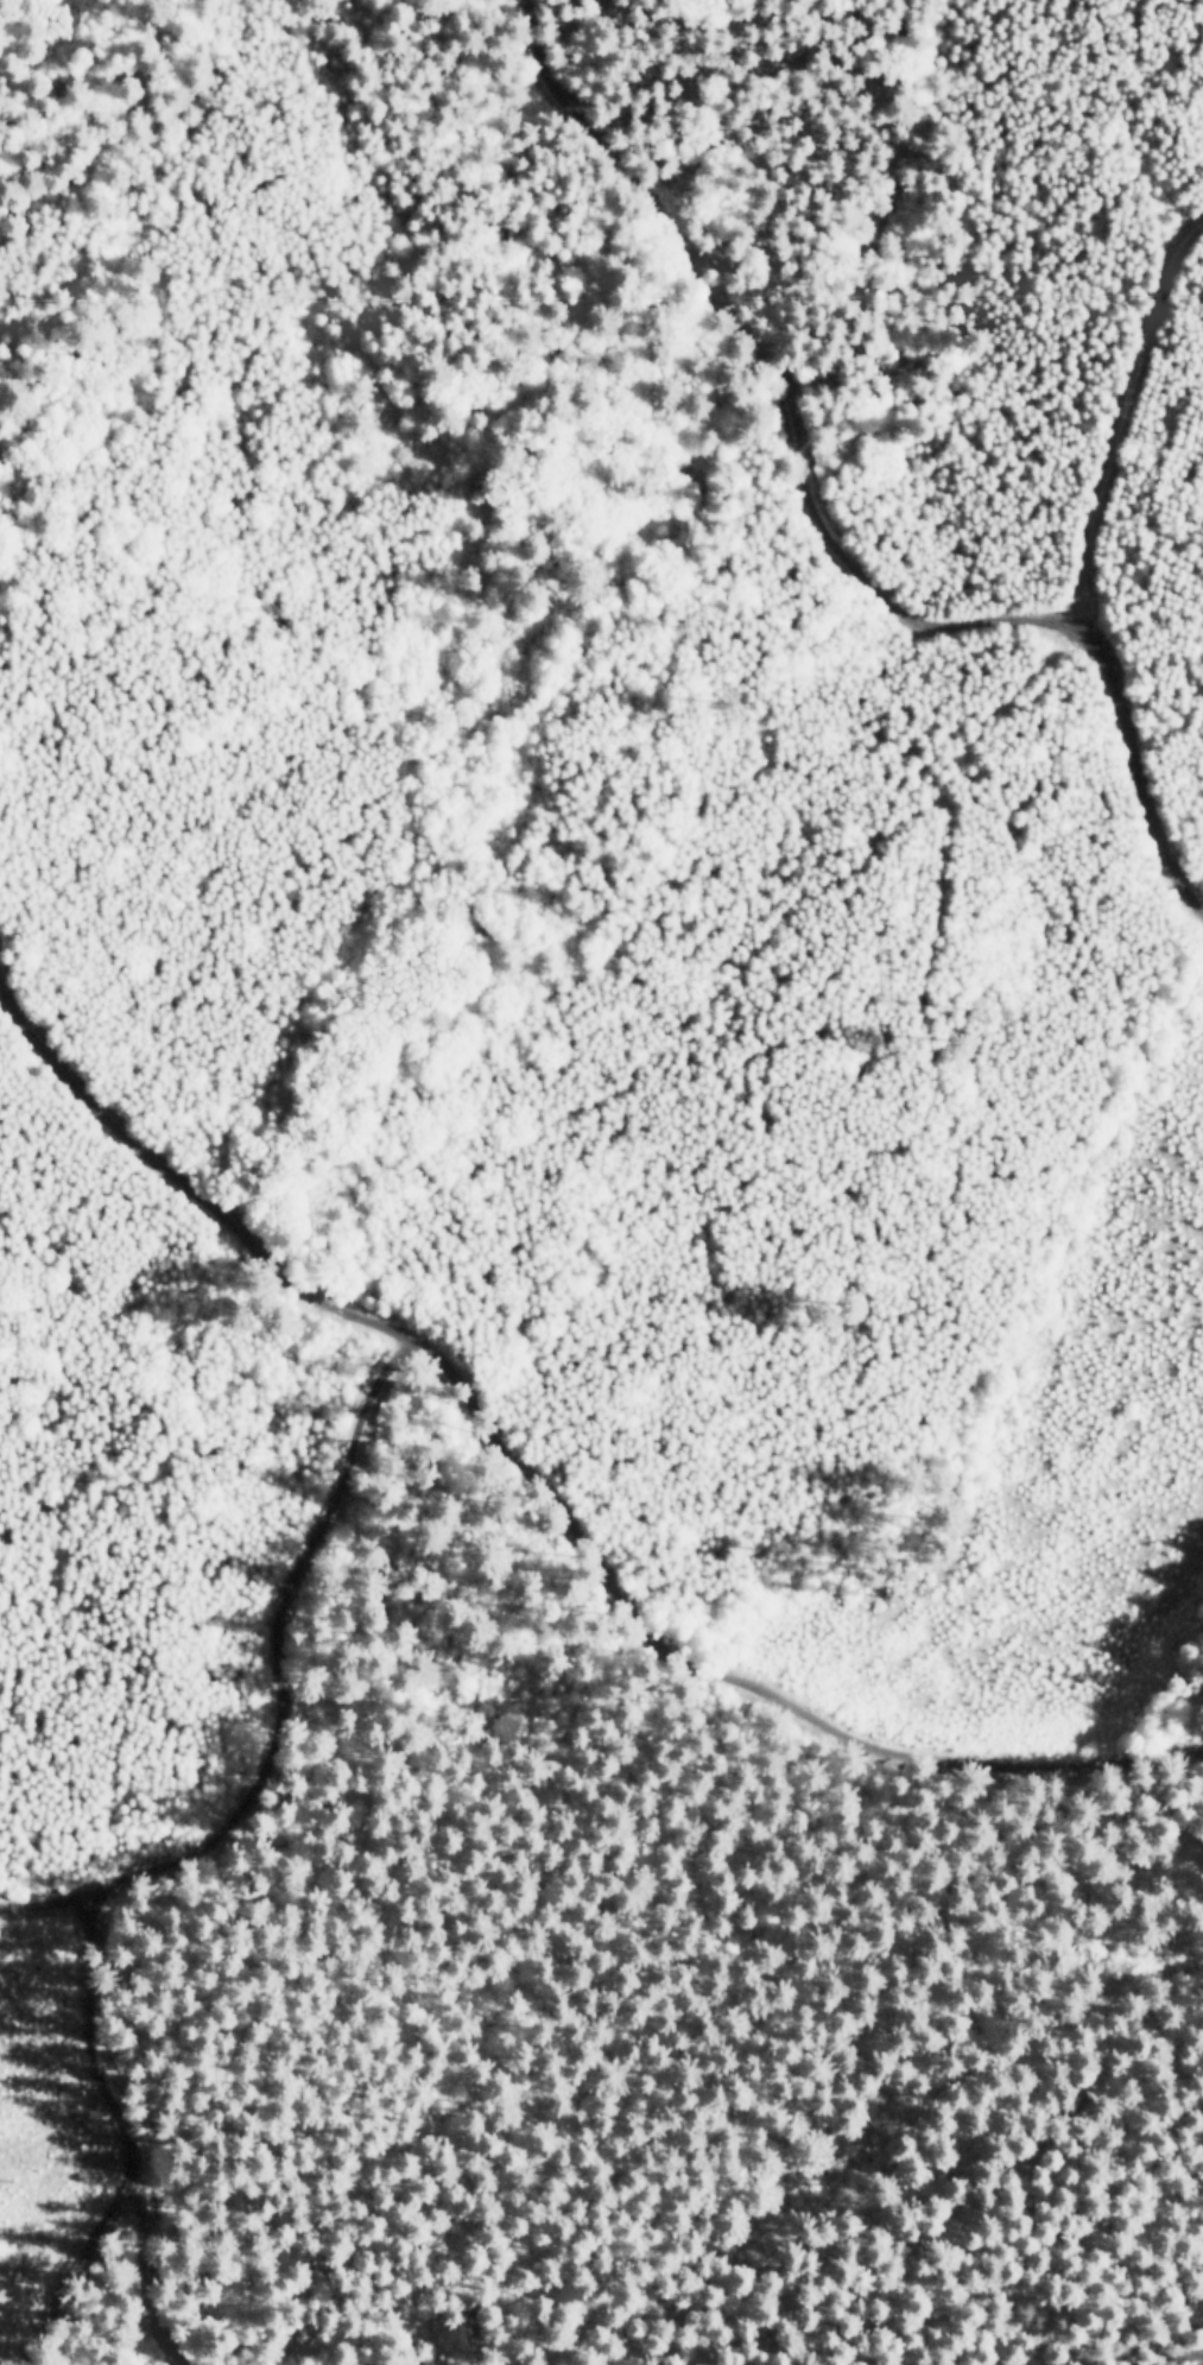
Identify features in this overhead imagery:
crop: (1063, 157)
road: (823, 530)
road: (1081, 570)
road: (533, 1490)
road: (287, 1697)

